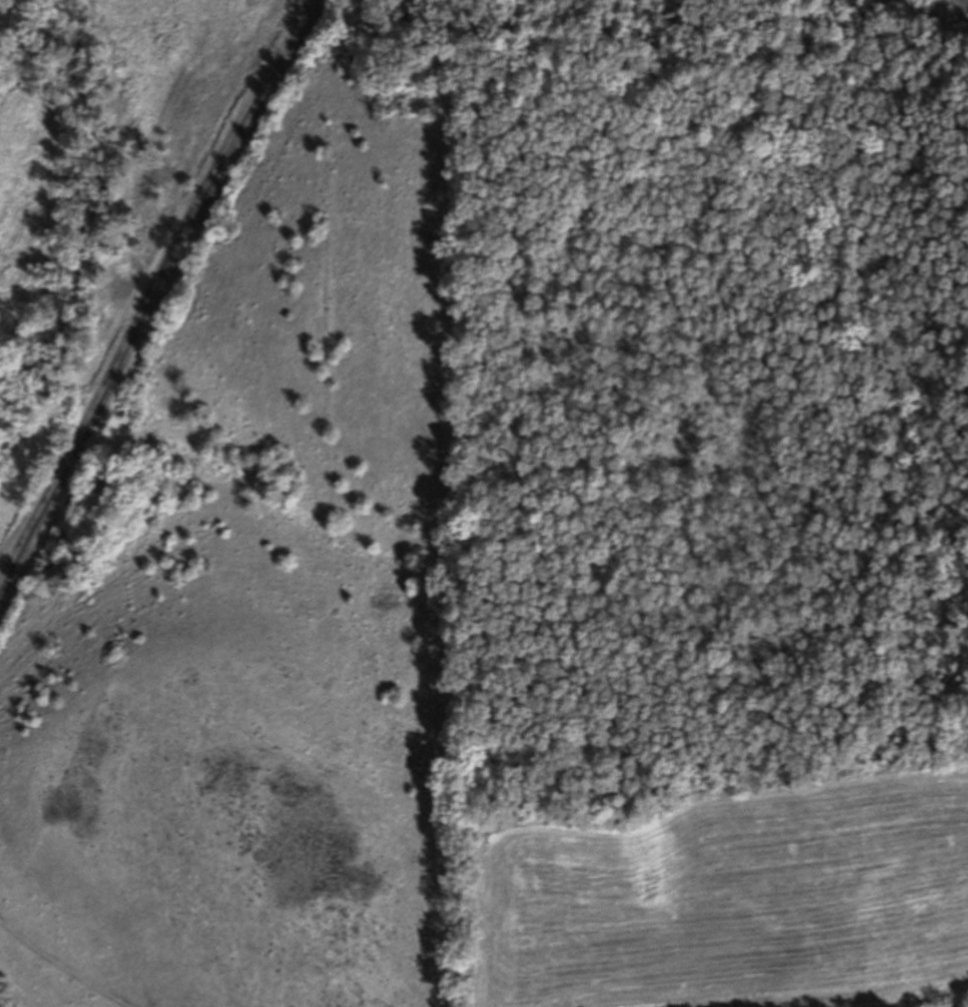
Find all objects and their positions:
road: (156, 294)

